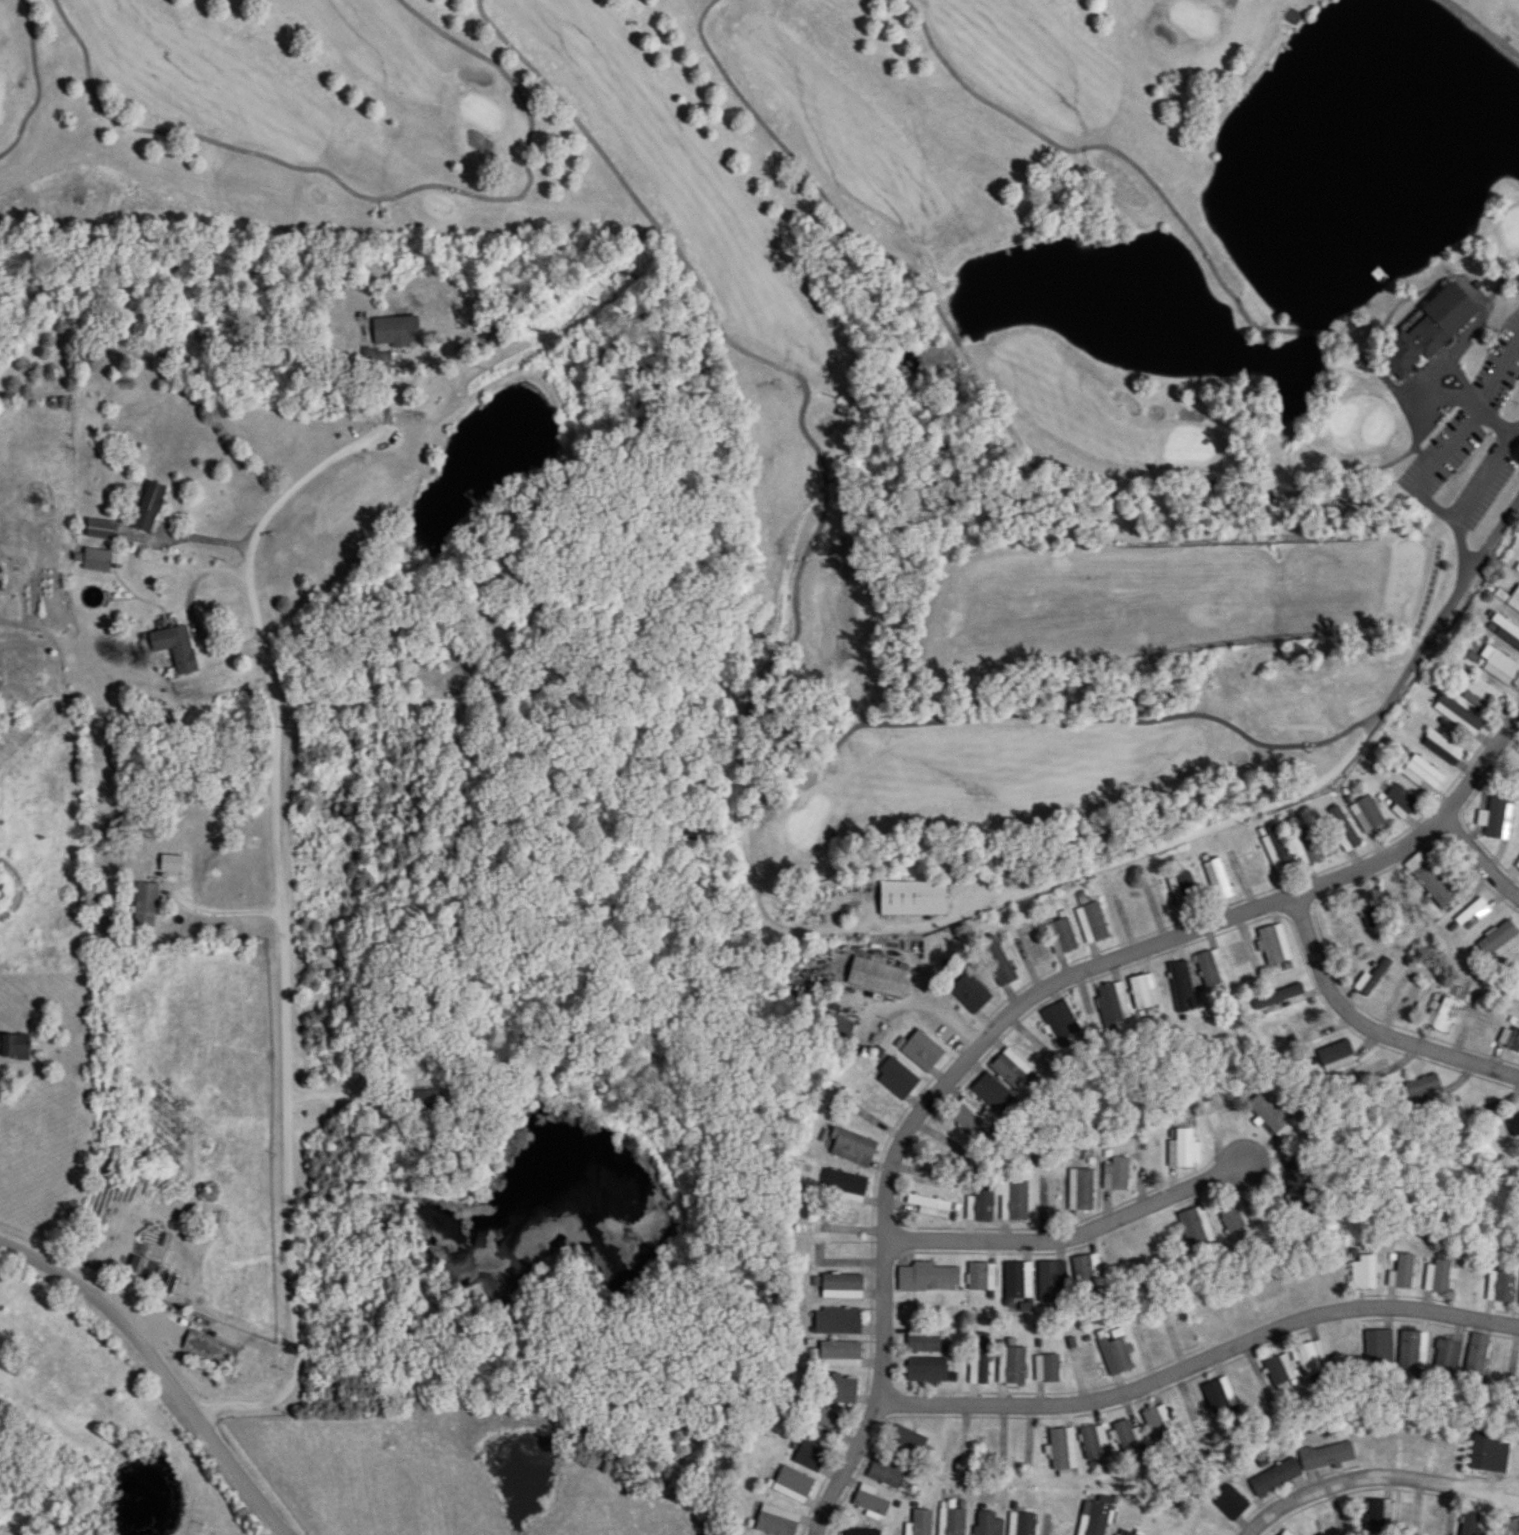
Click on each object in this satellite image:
building: (1290, 13)
road: (1483, 27)
road: (39, 84)
road: (1111, 147)
road: (376, 197)
building: (377, 210)
building: (1378, 272)
road: (1501, 281)
building: (395, 329)
building: (1426, 330)
road: (1359, 353)
road: (988, 383)
building: (1461, 425)
building: (149, 507)
building: (101, 529)
building: (96, 559)
road: (186, 565)
road: (1428, 583)
building: (1515, 600)
building: (1507, 630)
building: (174, 648)
building: (1499, 665)
road: (766, 671)
building: (1482, 695)
building: (1460, 716)
building: (1443, 748)
building: (1423, 775)
building: (1400, 802)
building: (1368, 815)
building: (1493, 819)
building: (1344, 832)
building: (1308, 847)
building: (1277, 852)
road: (1476, 856)
building: (1517, 867)
building: (1248, 871)
road: (1056, 877)
building: (1218, 880)
building: (1430, 881)
building: (1184, 890)
building: (910, 895)
building: (1156, 898)
building: (146, 906)
building: (1371, 907)
building: (1474, 913)
road: (218, 914)
building: (1092, 923)
road: (284, 924)
building: (1336, 924)
building: (1062, 936)
building: (1499, 941)
building: (1034, 944)
building: (1274, 945)
building: (1242, 953)
building: (997, 961)
building: (1212, 968)
building: (878, 977)
building: (1374, 977)
road: (1036, 986)
building: (1182, 987)
building: (1144, 991)
building: (970, 993)
building: (1279, 1000)
building: (1113, 1002)
building: (1442, 1014)
building: (1062, 1022)
road: (1369, 1024)
building: (840, 1025)
building: (1480, 1025)
building: (1305, 1029)
building: (1510, 1039)
building: (14, 1047)
building: (1035, 1050)
building: (922, 1051)
building: (1337, 1056)
building: (1008, 1071)
building: (1370, 1071)
building: (897, 1078)
building: (1421, 1087)
road: (338, 1091)
building: (990, 1095)
building: (1222, 1112)
building: (1271, 1116)
building: (970, 1119)
building: (854, 1148)
building: (948, 1148)
building: (1183, 1150)
building: (1117, 1174)
building: (1299, 1181)
building: (844, 1186)
building: (1082, 1190)
building: (1049, 1200)
building: (1016, 1202)
building: (981, 1204)
building: (931, 1206)
building: (1237, 1217)
building: (844, 1222)
building: (1197, 1229)
road: (1074, 1232)
building: (842, 1251)
building: (1404, 1271)
building: (143, 1272)
building: (1088, 1272)
building: (1364, 1273)
building: (1441, 1276)
building: (928, 1278)
building: (982, 1278)
building: (1018, 1281)
building: (1049, 1283)
building: (842, 1287)
building: (1501, 1287)
building: (838, 1322)
building: (1184, 1333)
building: (923, 1341)
building: (1152, 1346)
building: (1379, 1346)
building: (1410, 1349)
building: (211, 1350)
building: (840, 1355)
building: (1447, 1355)
building: (1116, 1356)
road: (1201, 1356)
building: (1477, 1356)
building: (1312, 1358)
building: (981, 1362)
road: (166, 1364)
building: (1015, 1366)
building: (1085, 1366)
building: (1048, 1370)
building: (1281, 1370)
building: (927, 1371)
building: (1253, 1387)
building: (839, 1390)
building: (1219, 1394)
building: (1184, 1410)
building: (1155, 1421)
building: (827, 1422)
building: (1128, 1436)
building: (1093, 1441)
building: (908, 1442)
building: (996, 1445)
building: (1063, 1448)
building: (1490, 1452)
building: (953, 1453)
building: (1327, 1455)
building: (810, 1456)
building: (887, 1471)
road: (1374, 1474)
building: (1276, 1477)
building: (793, 1485)
building: (871, 1501)
building: (1231, 1502)
road: (820, 1512)
building: (1378, 1515)
building: (1408, 1517)
building: (1095, 1518)
building: (1439, 1520)
building: (954, 1521)
building: (777, 1522)
building: (922, 1522)
building: (1339, 1522)
building: (1474, 1522)
building: (988, 1523)
building: (1023, 1523)
building: (865, 1531)
building: (1127, 1532)
building: (1287, 1533)

